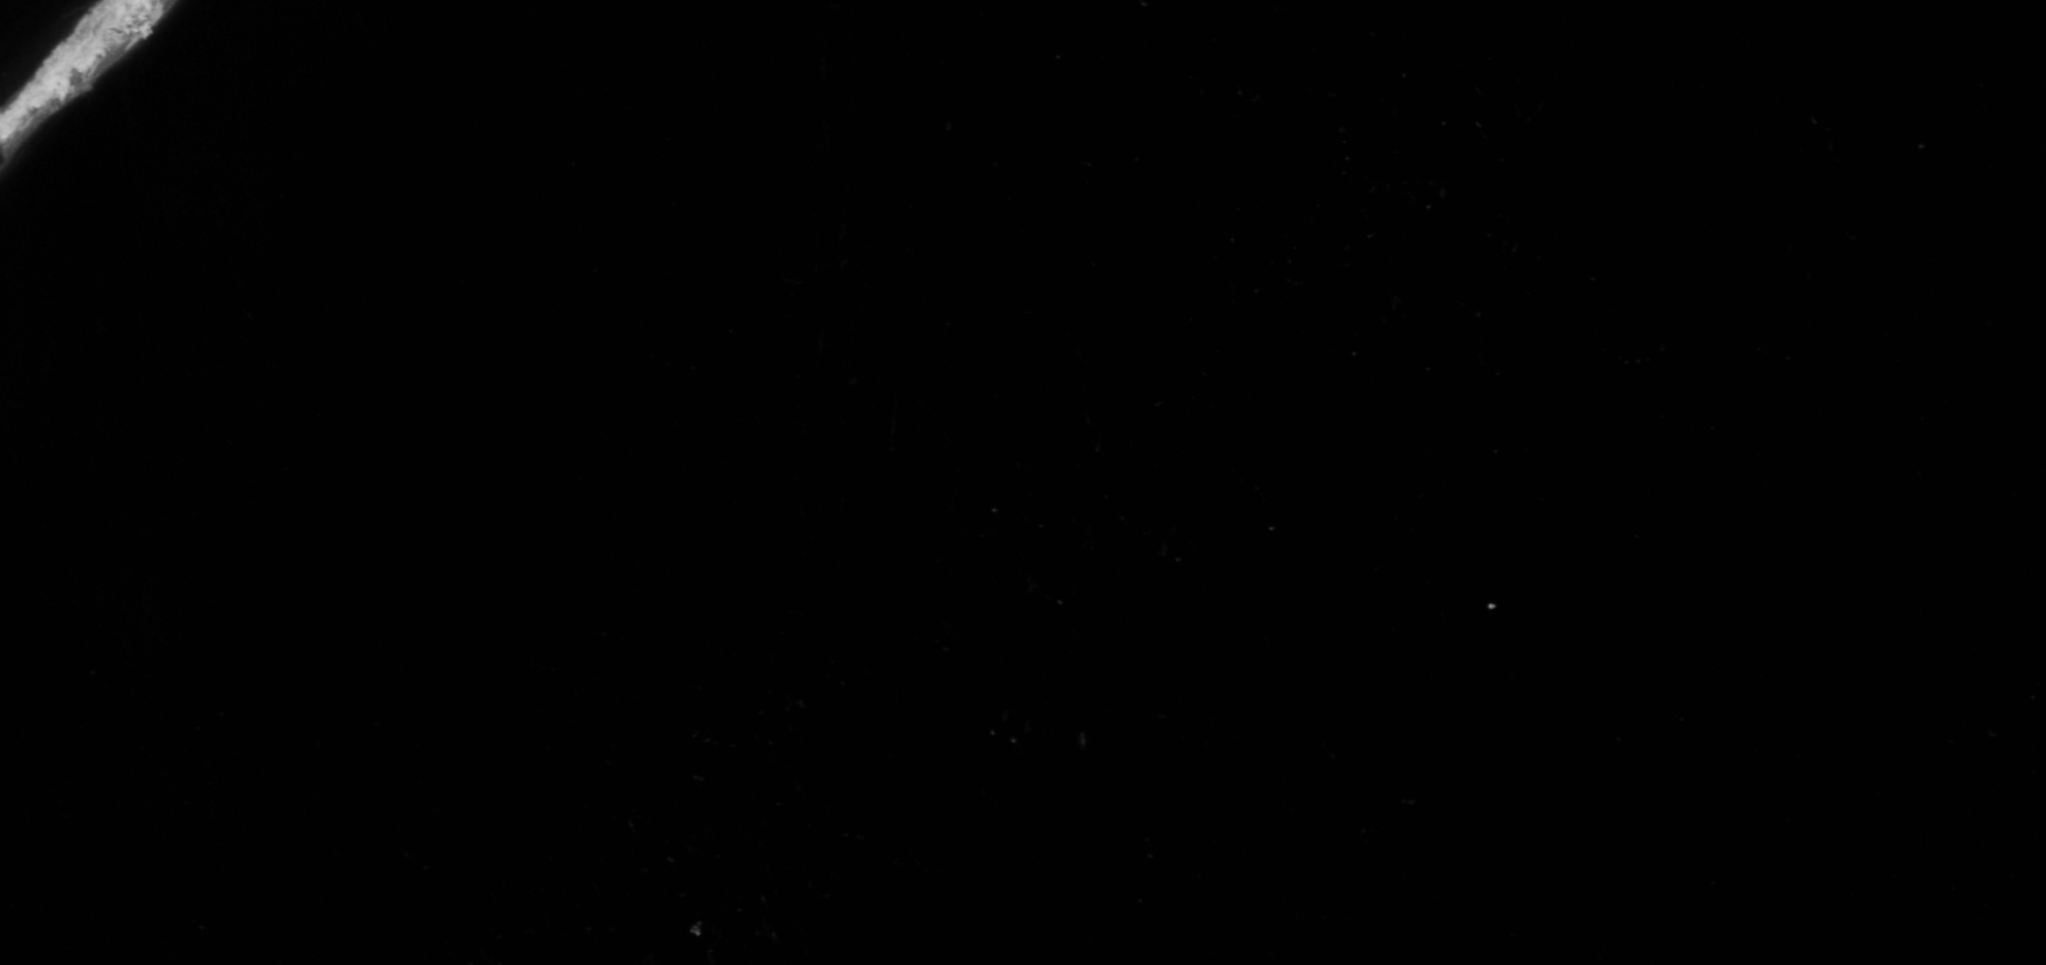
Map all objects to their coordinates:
river: (1302, 498)

